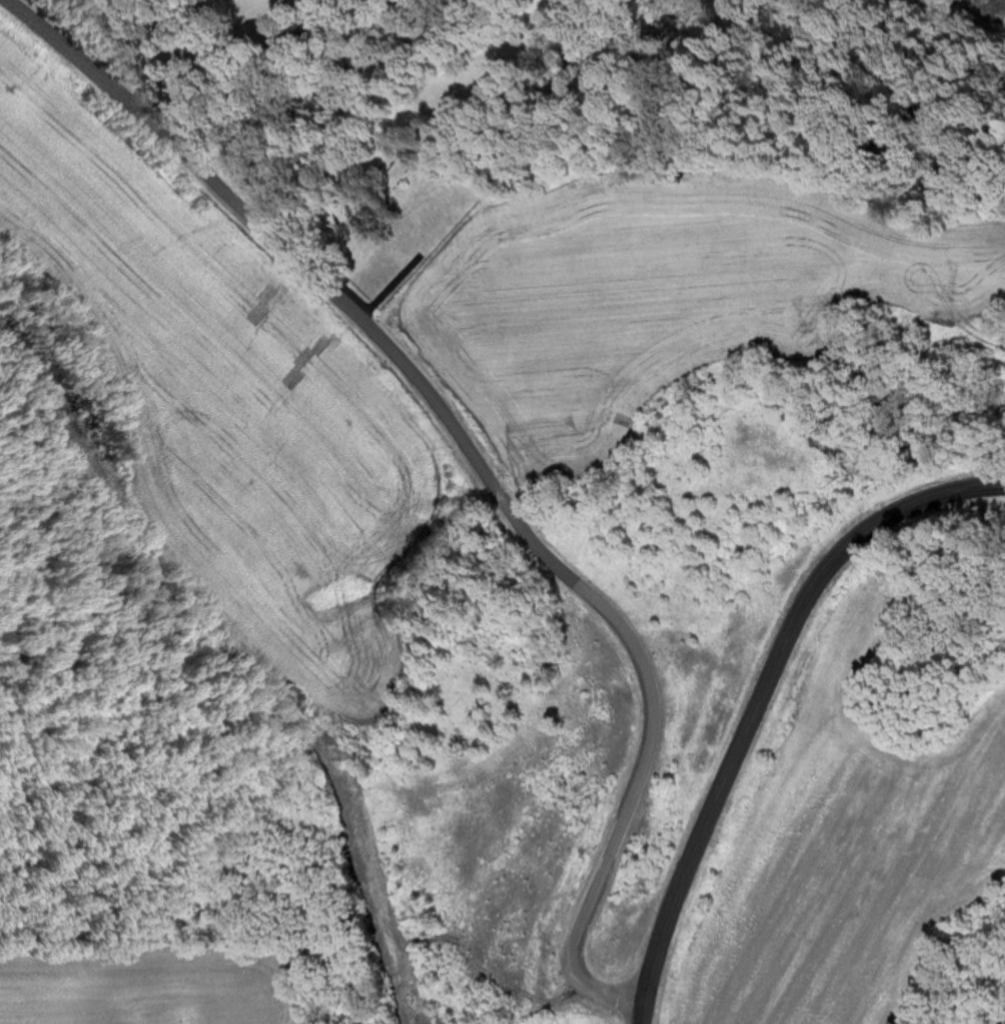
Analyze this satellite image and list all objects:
road: (473, 475)
road: (755, 694)

